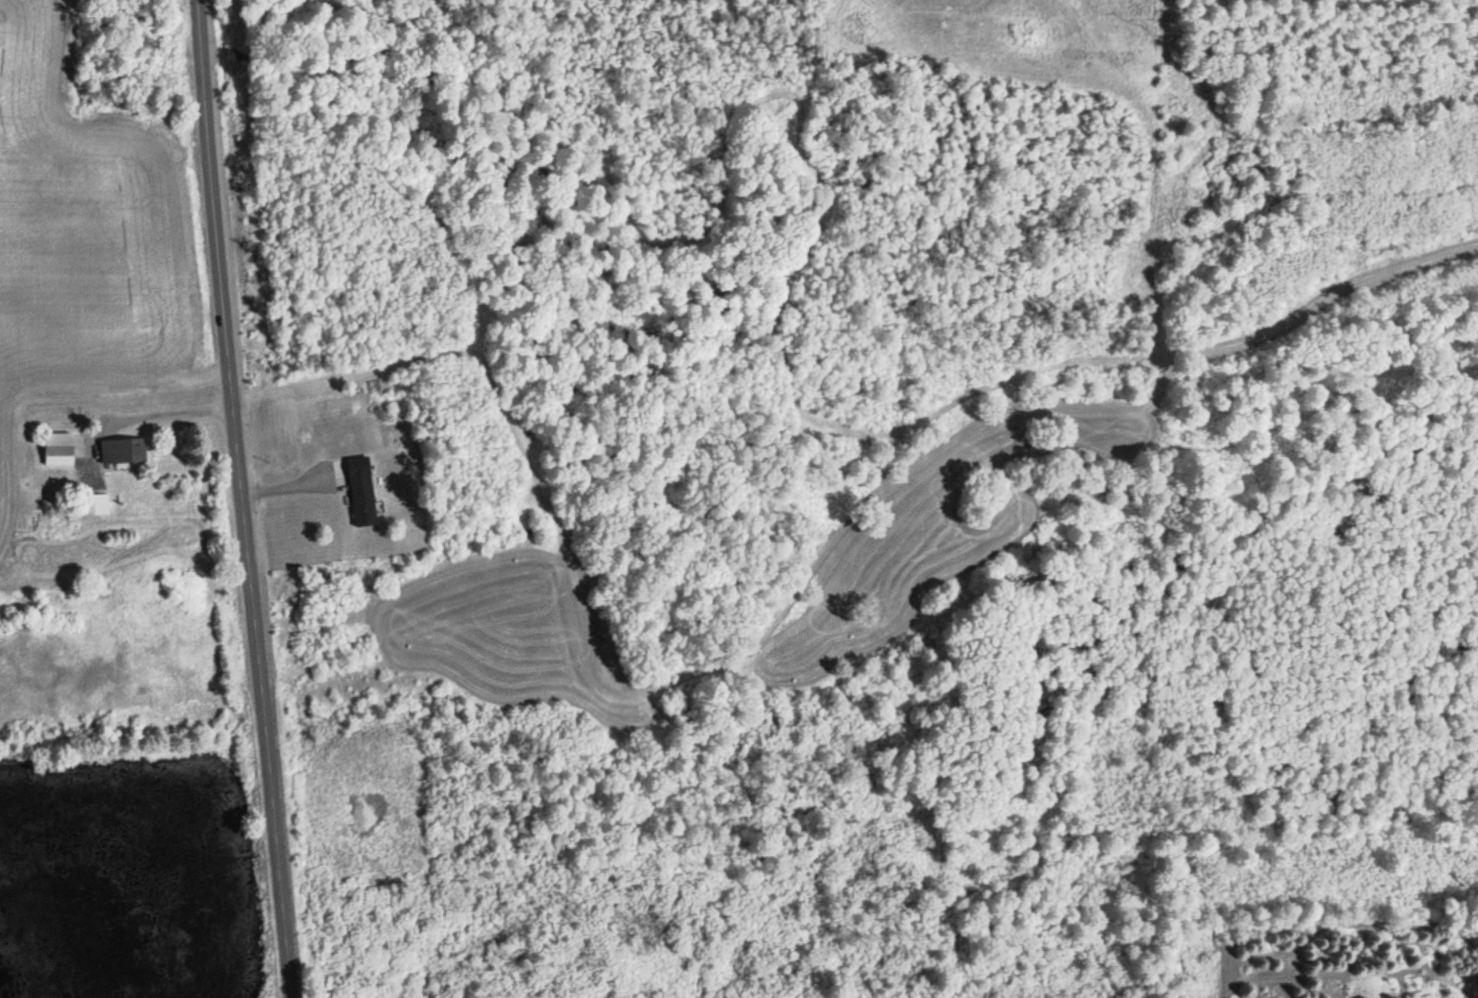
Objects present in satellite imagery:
building: (60, 449)
building: (123, 451)
building: (363, 492)
road: (242, 499)
building: (94, 504)

